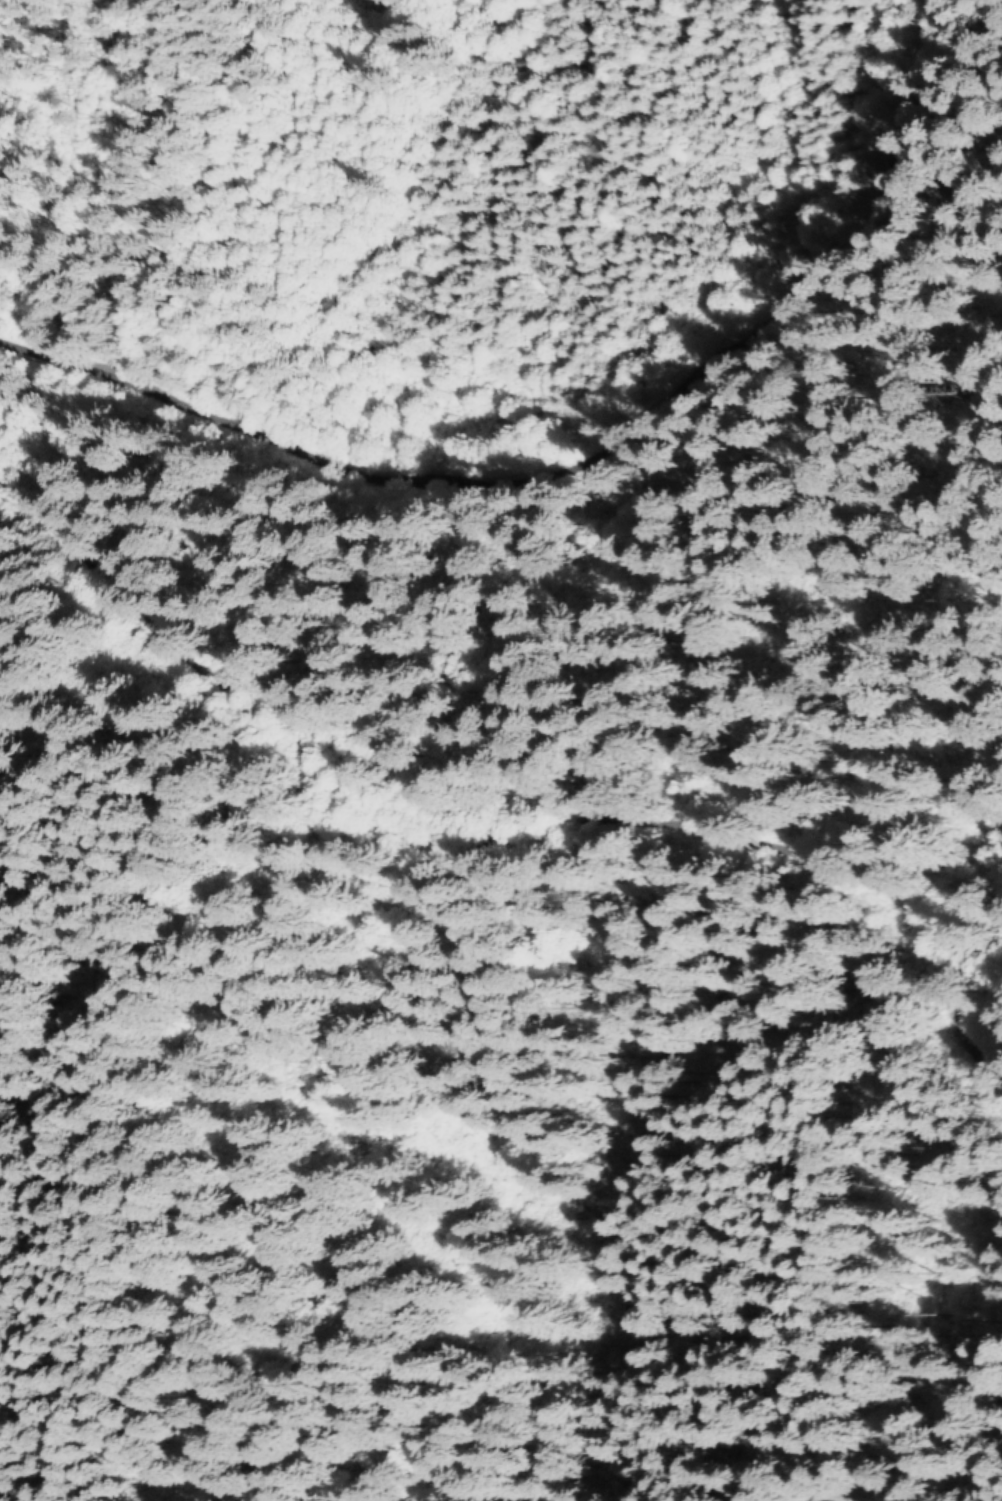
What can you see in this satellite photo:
road: (584, 425)
road: (501, 811)

